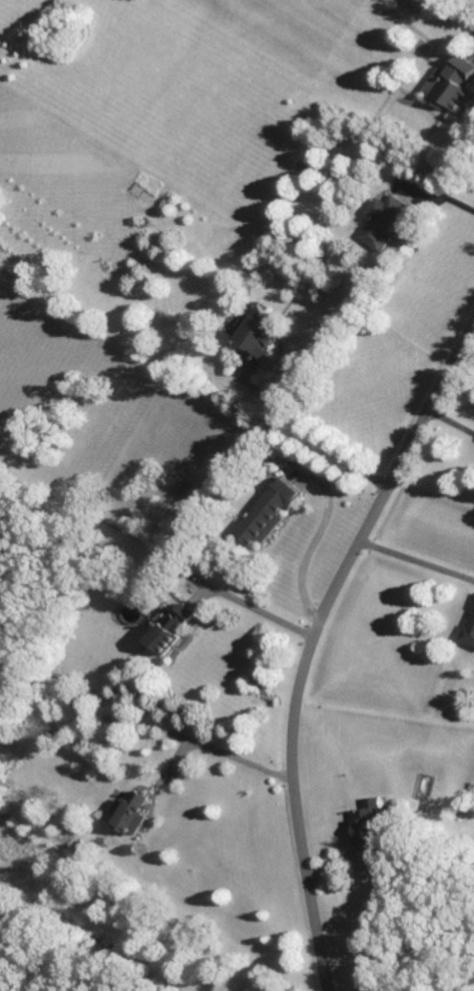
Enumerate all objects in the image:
building: (417, 4)
road: (472, 49)
building: (450, 85)
road: (442, 195)
building: (381, 221)
building: (258, 335)
road: (451, 420)
road: (309, 434)
building: (268, 512)
road: (313, 539)
road: (417, 559)
road: (251, 608)
building: (171, 627)
building: (469, 630)
road: (312, 640)
road: (225, 753)
building: (133, 814)

